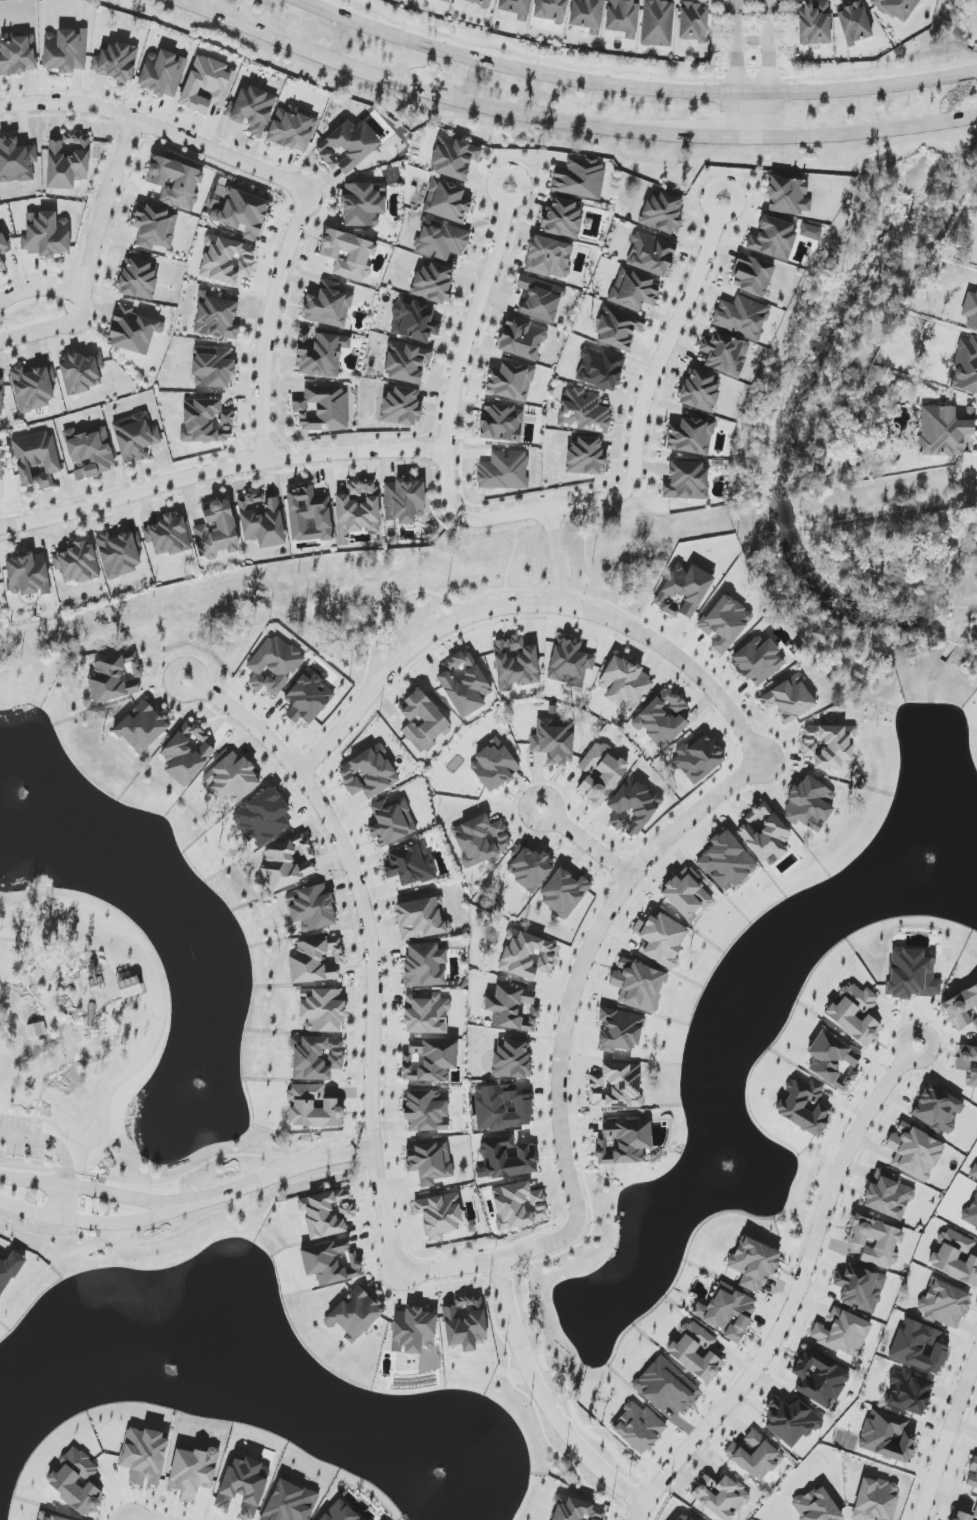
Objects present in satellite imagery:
building: (445, 1)
building: (478, 2)
building: (516, 8)
building: (896, 8)
building: (551, 10)
building: (586, 13)
building: (623, 17)
road: (735, 19)
road: (766, 19)
building: (693, 22)
building: (657, 23)
building: (814, 23)
building: (854, 23)
road: (750, 40)
building: (65, 50)
building: (17, 54)
building: (115, 62)
road: (735, 69)
road: (766, 69)
building: (162, 73)
building: (207, 85)
road: (633, 87)
road: (417, 90)
building: (253, 110)
road: (751, 117)
road: (156, 126)
building: (292, 129)
road: (864, 134)
road: (711, 139)
road: (546, 144)
building: (347, 146)
building: (454, 158)
building: (16, 161)
building: (67, 161)
building: (580, 178)
building: (175, 182)
building: (788, 196)
building: (446, 201)
road: (106, 203)
building: (363, 204)
building: (662, 213)
building: (244, 214)
building: (562, 218)
building: (154, 226)
building: (811, 232)
building: (45, 235)
building: (773, 238)
building: (440, 240)
building: (3, 243)
building: (348, 254)
building: (651, 254)
building: (549, 257)
building: (226, 259)
building: (1, 265)
building: (752, 275)
building: (138, 279)
building: (433, 283)
building: (634, 290)
building: (540, 299)
road: (82, 302)
building: (328, 306)
building: (970, 311)
building: (216, 317)
building: (742, 317)
building: (414, 321)
road: (271, 325)
building: (617, 328)
building: (132, 330)
building: (522, 339)
road: (462, 348)
building: (320, 354)
building: (725, 354)
building: (406, 363)
building: (966, 366)
building: (213, 367)
building: (600, 369)
building: (81, 373)
building: (510, 381)
building: (33, 387)
building: (700, 391)
building: (1, 392)
building: (401, 407)
building: (322, 408)
building: (583, 411)
building: (206, 421)
building: (501, 423)
road: (642, 427)
building: (946, 432)
building: (691, 436)
building: (135, 437)
building: (89, 452)
building: (585, 457)
building: (36, 459)
building: (1, 463)
road: (221, 468)
building: (504, 471)
building: (686, 481)
building: (404, 501)
building: (357, 510)
building: (309, 515)
building: (261, 520)
building: (216, 530)
building: (168, 535)
building: (119, 553)
road: (561, 556)
building: (77, 563)
building: (28, 574)
building: (683, 591)
road: (529, 604)
building: (725, 623)
building: (757, 661)
building: (569, 662)
building: (515, 663)
building: (274, 665)
building: (115, 678)
building: (625, 683)
building: (464, 684)
building: (308, 698)
building: (789, 699)
building: (662, 718)
building: (436, 722)
building: (142, 727)
building: (553, 741)
building: (829, 746)
building: (187, 753)
building: (698, 758)
building: (494, 766)
building: (368, 773)
building: (611, 774)
building: (232, 777)
building: (809, 803)
building: (633, 807)
building: (262, 817)
building: (391, 822)
building: (765, 834)
building: (481, 840)
road: (587, 842)
fountain: (925, 859)
building: (288, 862)
building: (726, 862)
building: (410, 864)
building: (530, 869)
building: (564, 892)
building: (687, 894)
building: (313, 908)
building: (421, 919)
building: (661, 938)
building: (527, 955)
road: (583, 959)
building: (316, 961)
road: (62, 963)
building: (424, 965)
building: (911, 974)
road: (159, 980)
building: (638, 985)
road: (372, 986)
building: (129, 987)
road: (32, 994)
building: (962, 1008)
building: (513, 1009)
building: (322, 1010)
building: (426, 1014)
building: (839, 1014)
road: (55, 1024)
building: (620, 1030)
building: (317, 1058)
building: (511, 1060)
building: (429, 1061)
building: (833, 1061)
building: (968, 1063)
road: (77, 1064)
building: (616, 1086)
building: (804, 1106)
building: (313, 1107)
building: (502, 1108)
building: (937, 1110)
building: (425, 1111)
road: (48, 1119)
road: (50, 1141)
building: (624, 1143)
building: (914, 1152)
building: (507, 1157)
road: (86, 1161)
building: (430, 1162)
fountain: (723, 1162)
road: (193, 1170)
building: (973, 1172)
road: (274, 1175)
road: (88, 1188)
building: (888, 1196)
road: (59, 1200)
building: (518, 1205)
building: (326, 1213)
building: (971, 1214)
building: (439, 1215)
road: (88, 1221)
building: (875, 1241)
road: (539, 1247)
building: (955, 1257)
building: (331, 1262)
building: (753, 1264)
building: (9, 1271)
building: (860, 1288)
road: (794, 1294)
building: (944, 1304)
building: (727, 1311)
building: (355, 1313)
building: (465, 1323)
building: (413, 1331)
building: (842, 1333)
building: (919, 1347)
building: (695, 1351)
building: (819, 1379)
building: (666, 1386)
building: (909, 1393)
road: (542, 1399)
building: (791, 1421)
building: (638, 1428)
road: (946, 1434)
building: (887, 1436)
building: (144, 1456)
building: (755, 1456)
building: (193, 1471)
building: (973, 1474)
building: (76, 1481)
building: (242, 1486)
building: (721, 1496)
building: (876, 1499)
building: (290, 1502)
building: (816, 1506)
building: (577, 1510)
building: (340, 1512)
building: (964, 1515)
building: (52, 1518)
building: (681, 1518)

